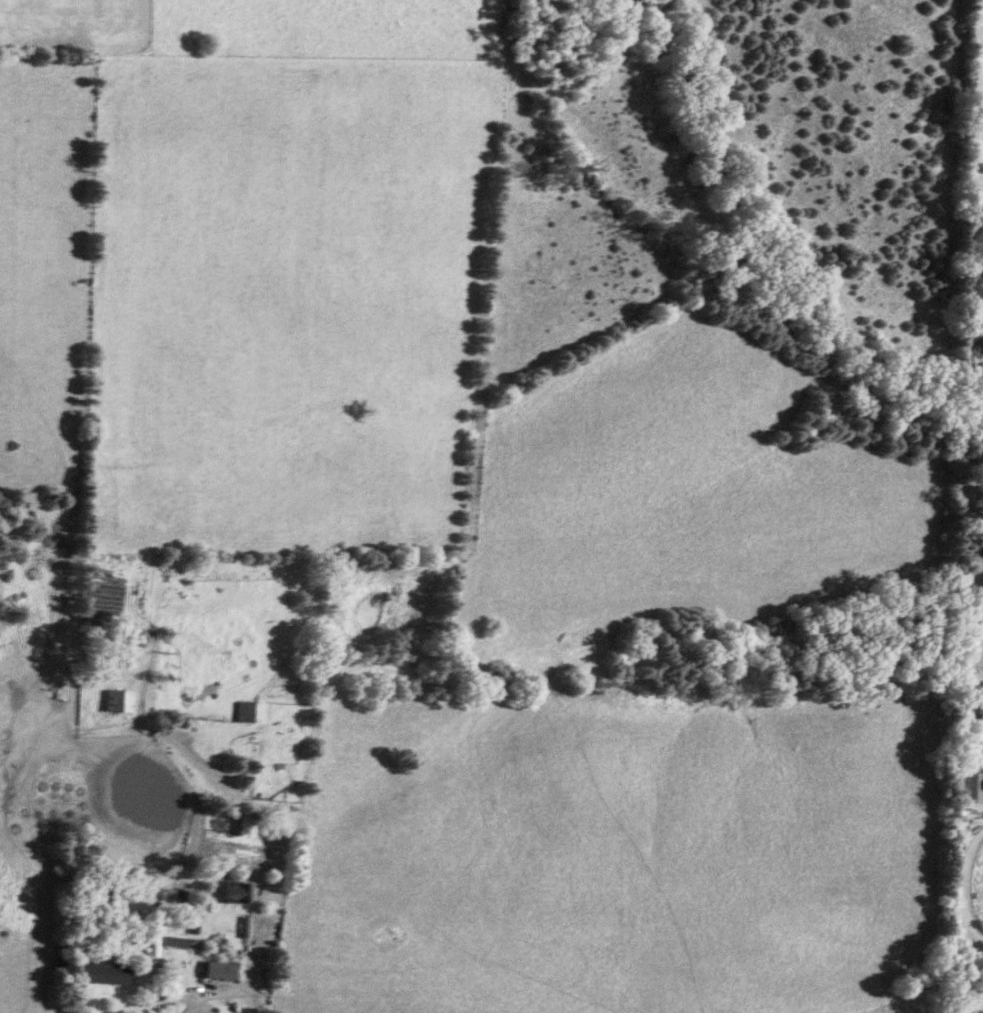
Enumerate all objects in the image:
road: (146, 674)
building: (113, 701)
building: (246, 713)
road: (221, 779)
building: (966, 787)
road: (959, 882)
building: (233, 893)
building: (217, 971)
road: (965, 971)
building: (101, 973)
road: (183, 996)

